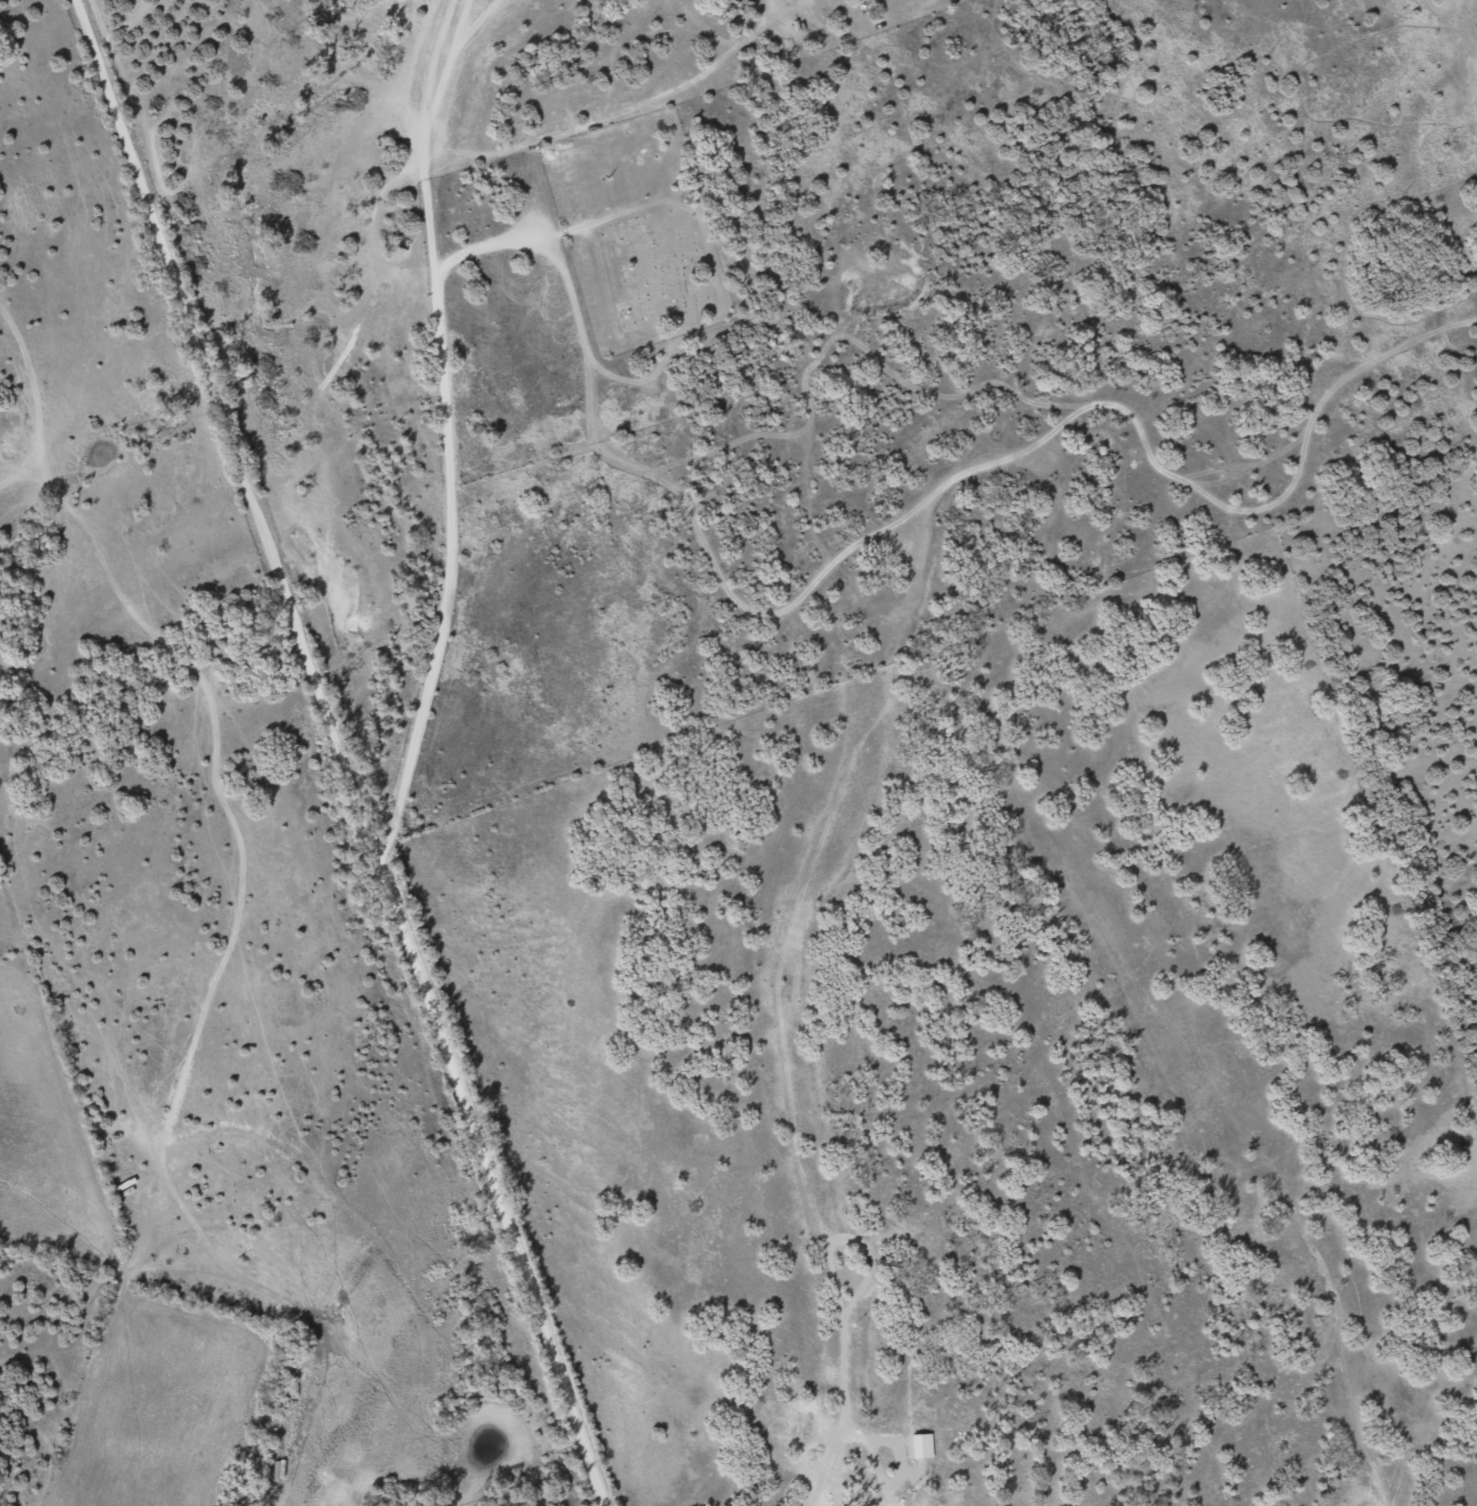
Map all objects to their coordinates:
park: (637, 236)
road: (340, 752)

